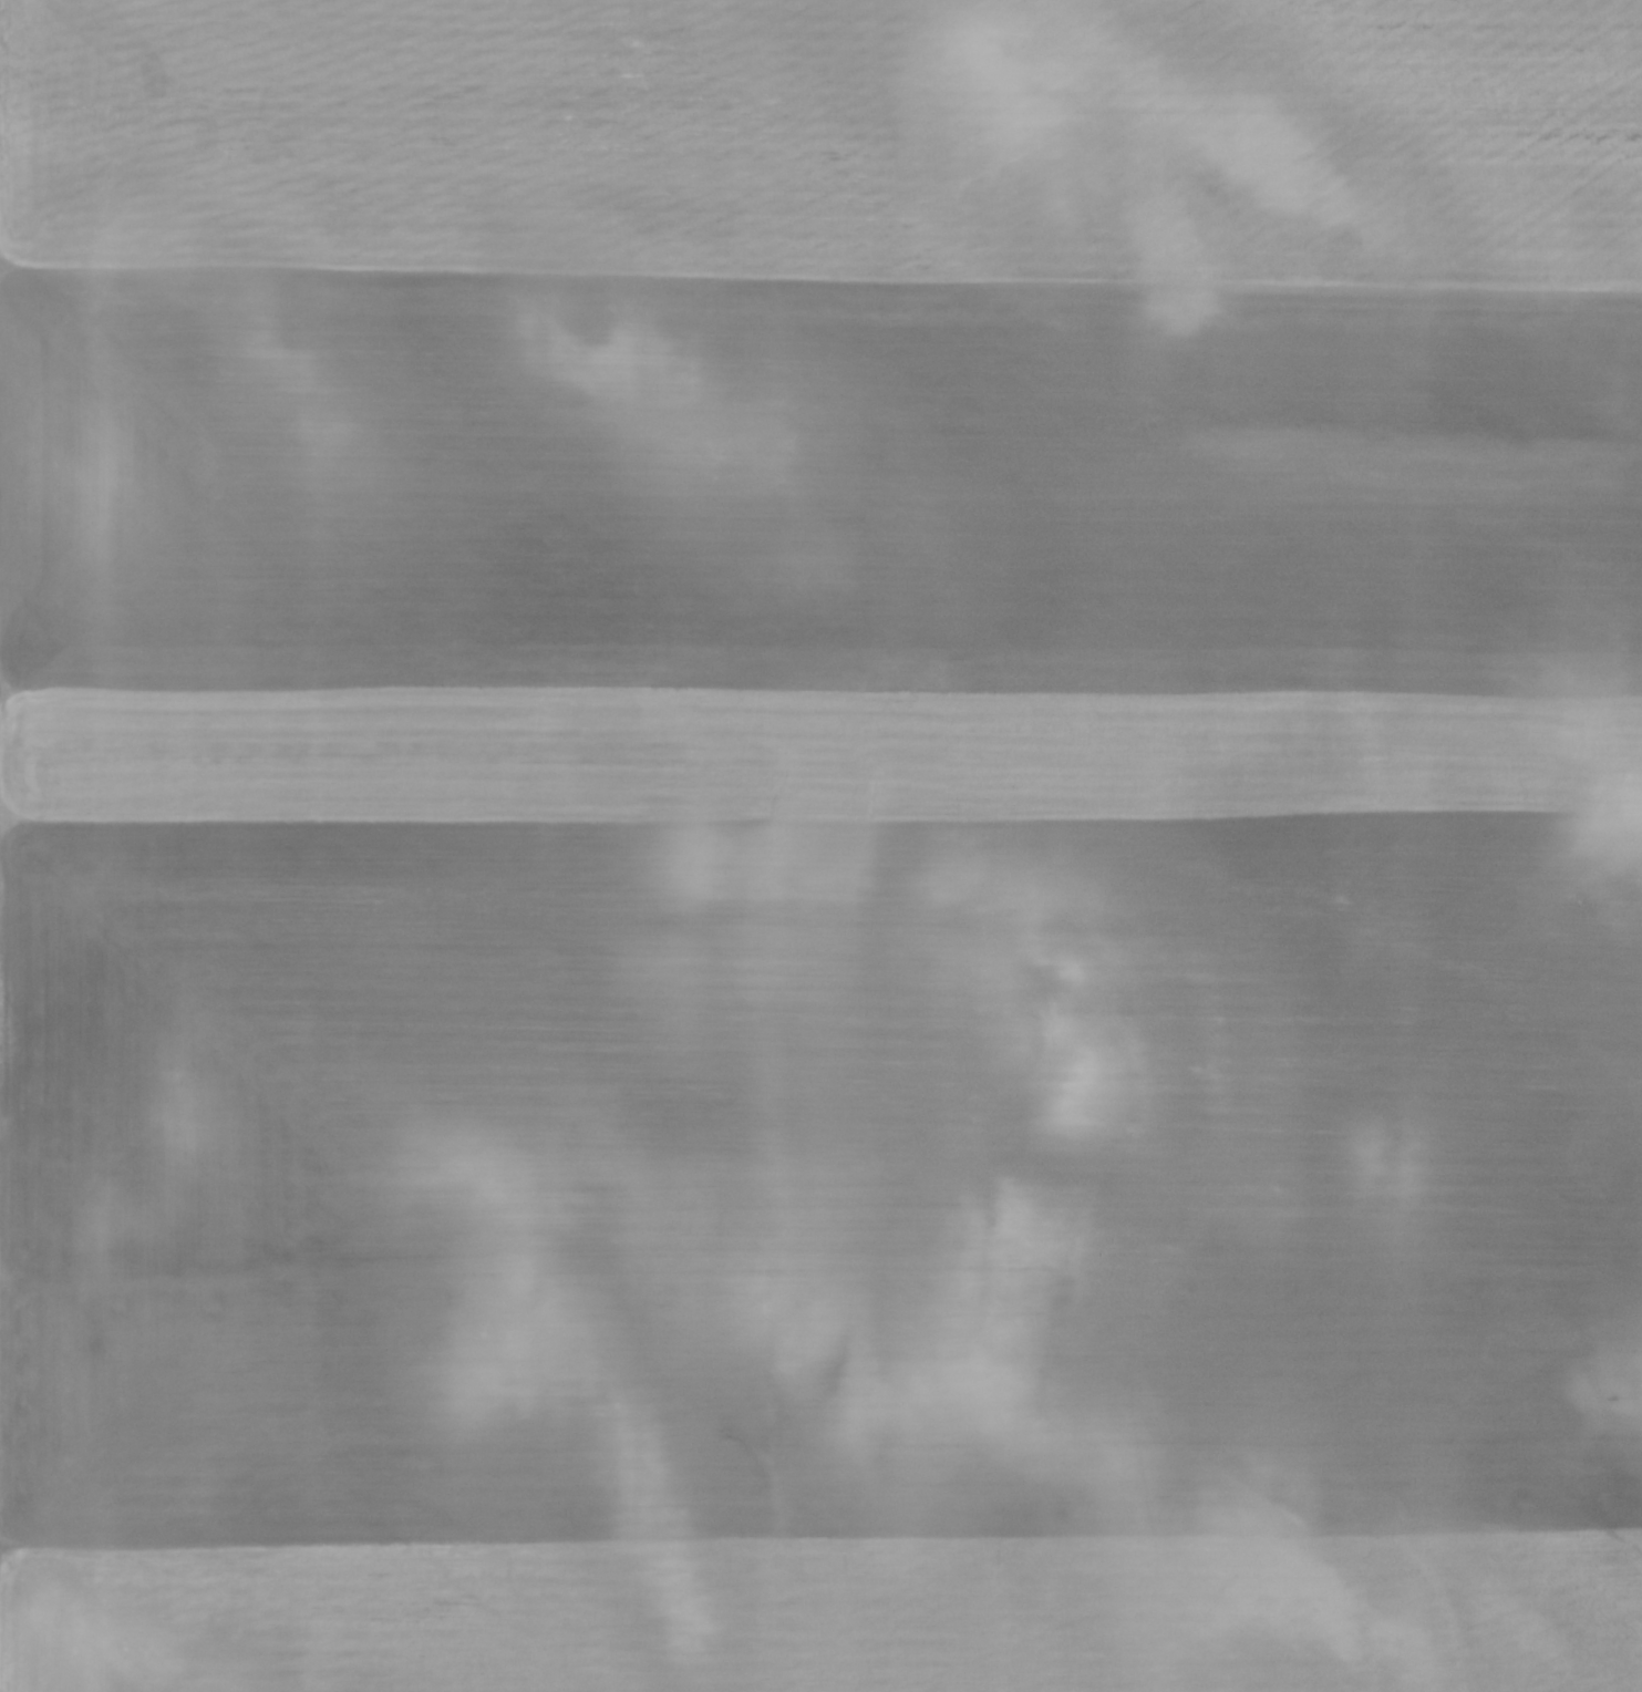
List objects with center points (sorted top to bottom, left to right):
crop: (820, 846)

